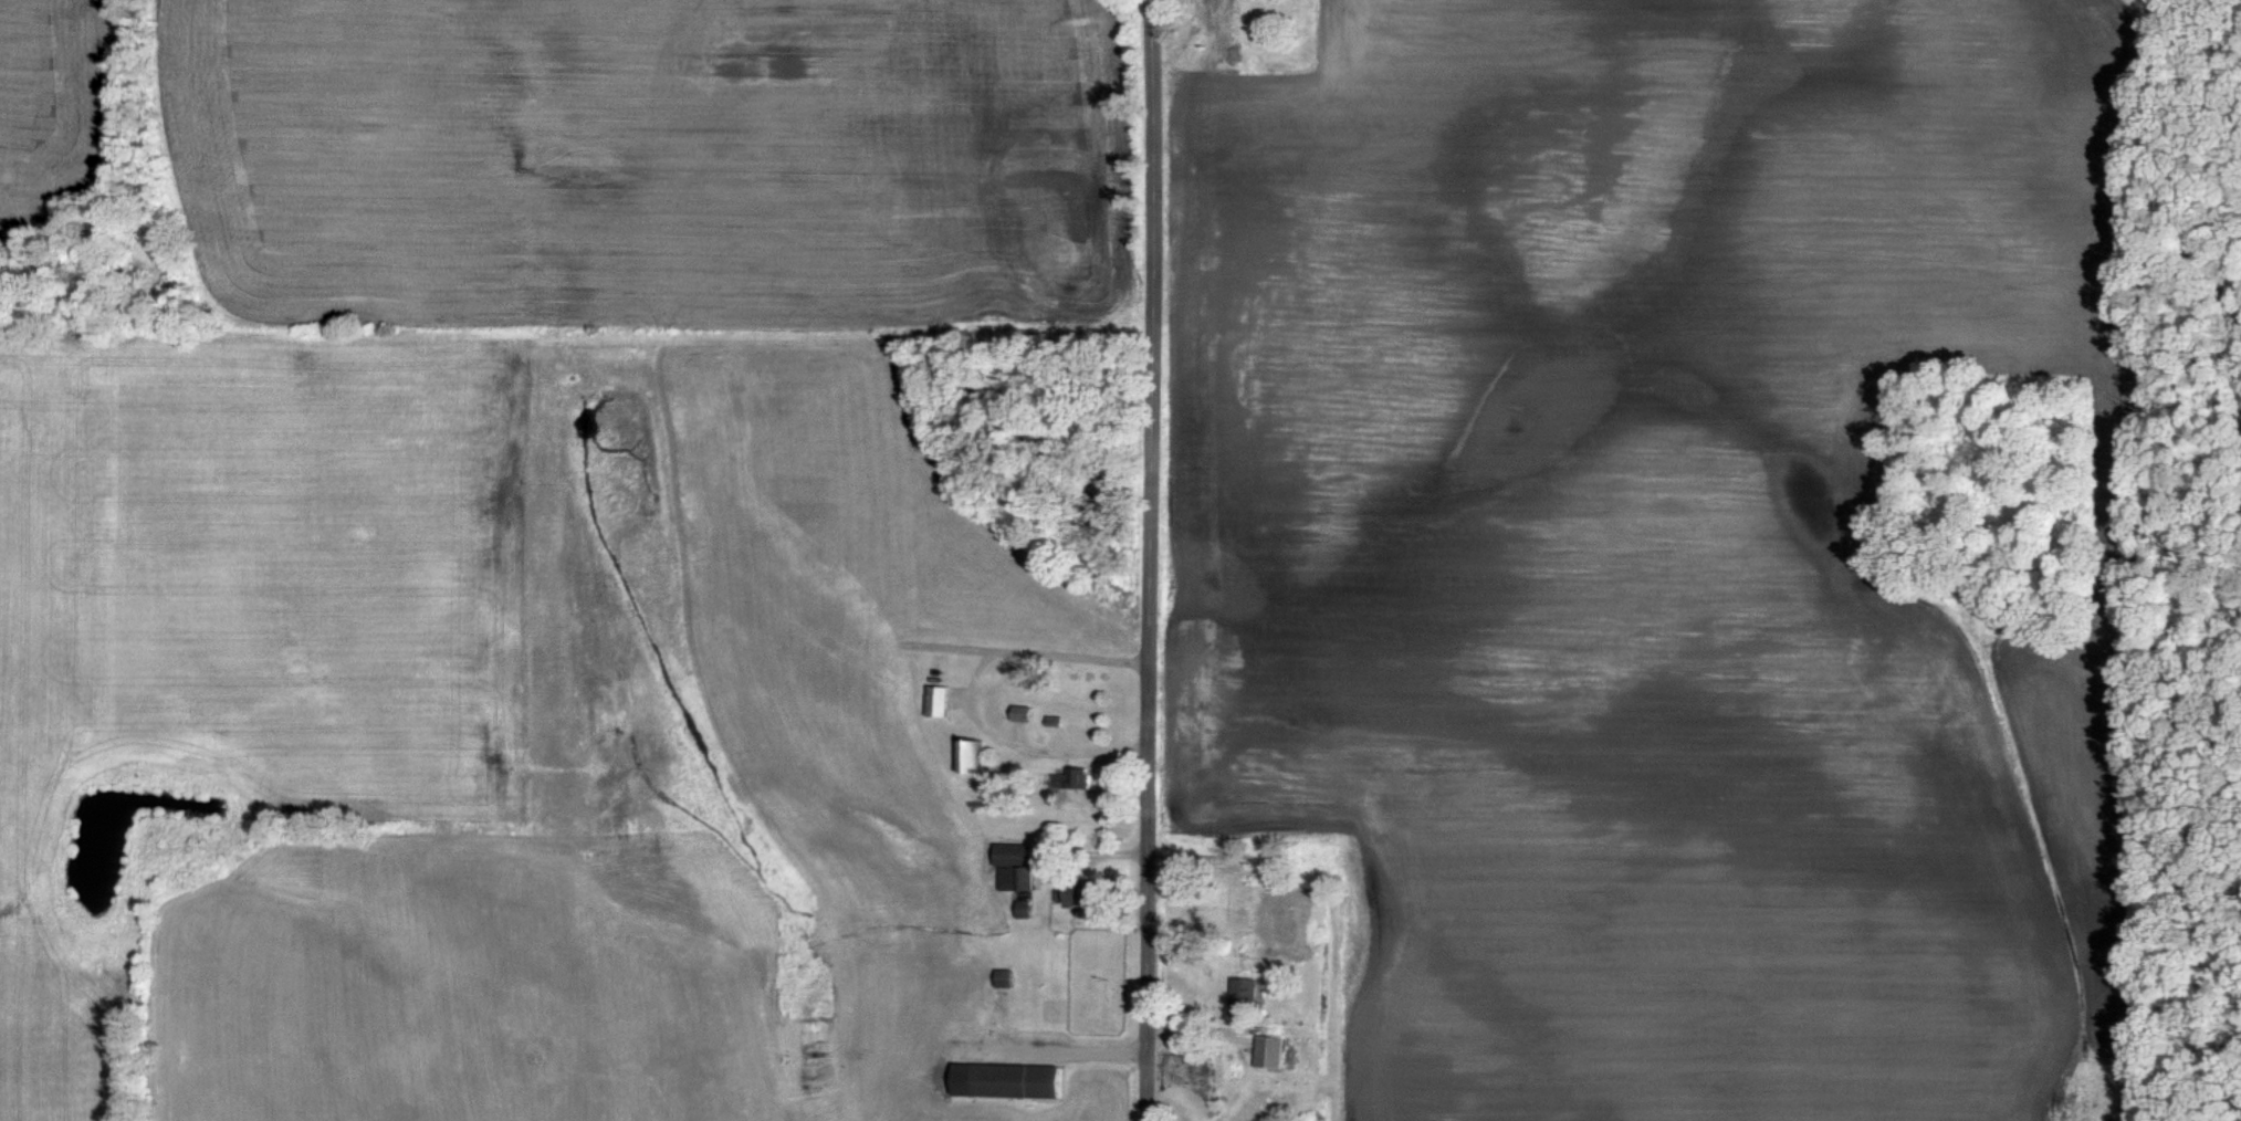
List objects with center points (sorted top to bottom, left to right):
road: (1151, 559)
road: (971, 694)
building: (936, 701)
building: (1020, 713)
building: (970, 756)
building: (1071, 778)
building: (1067, 895)
building: (1022, 908)
building: (1242, 995)
building: (1268, 1052)
building: (1005, 1080)

